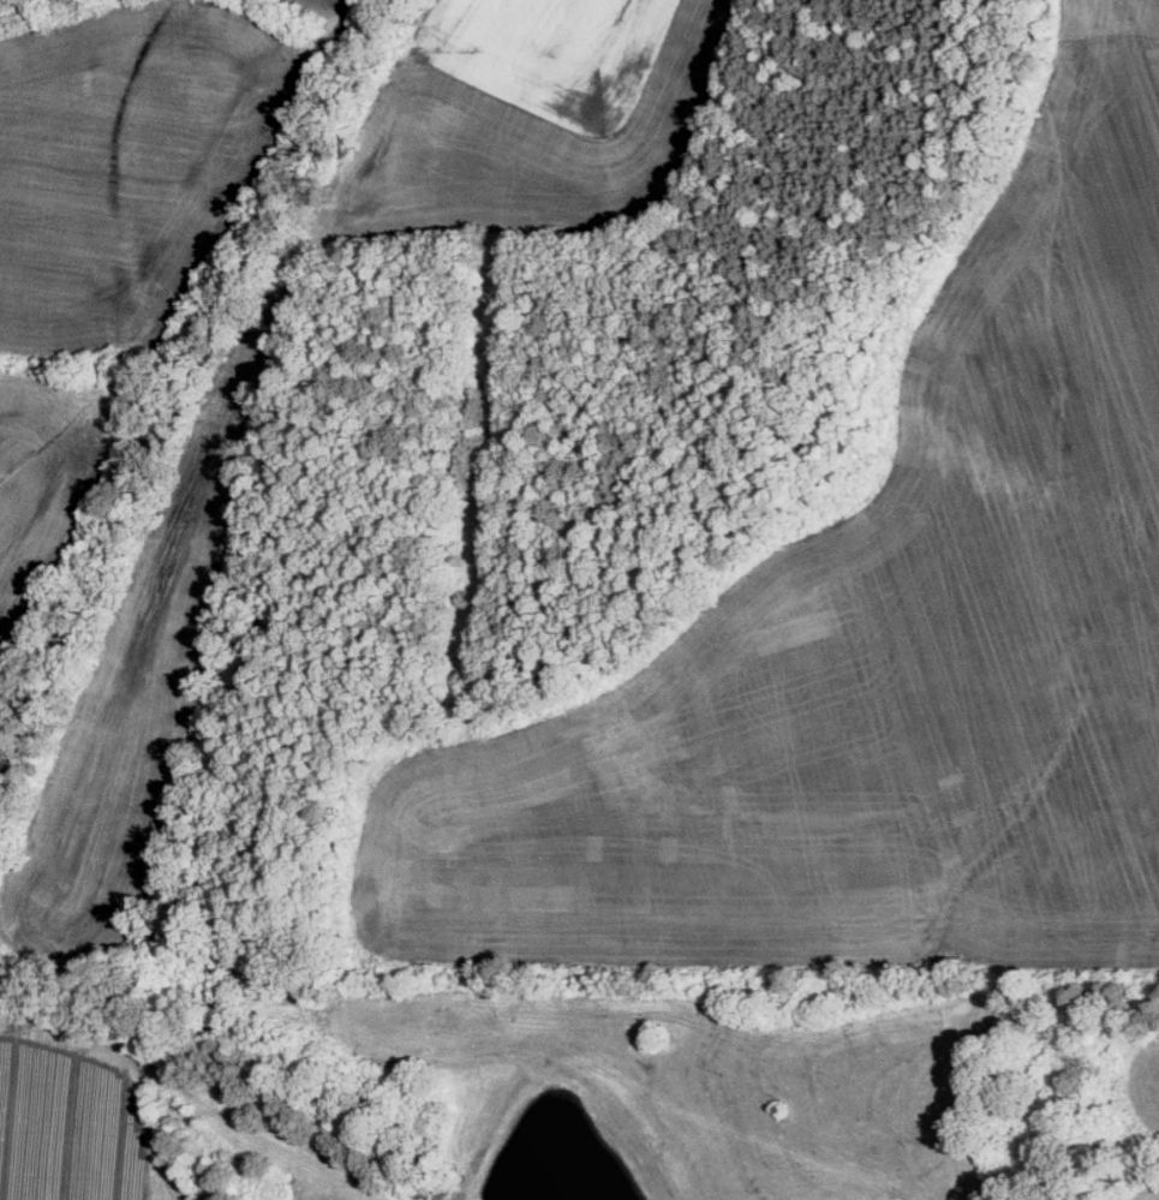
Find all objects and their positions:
crop: (307, 17)
road: (337, 26)
crop: (530, 121)
crop: (127, 160)
road: (234, 202)
crop: (48, 467)
road: (79, 517)
crop: (879, 656)
crop: (129, 695)

